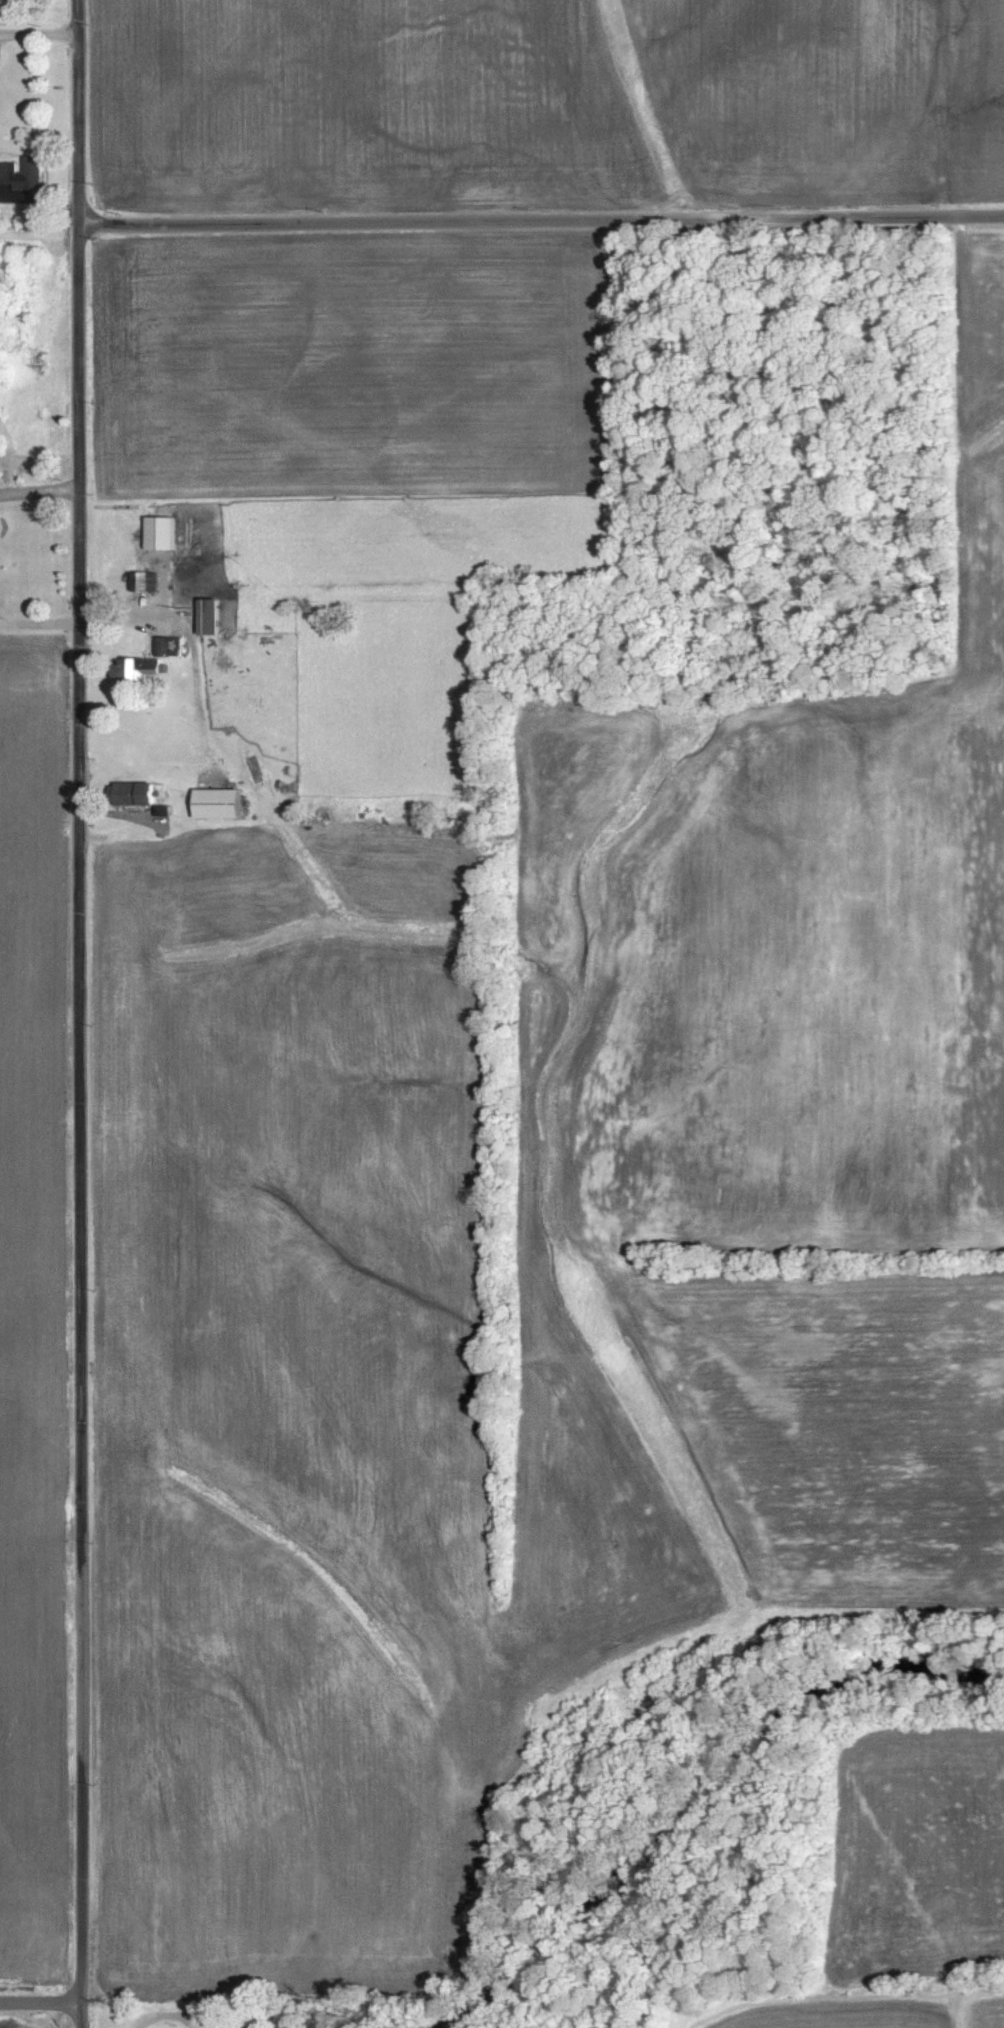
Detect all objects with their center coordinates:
building: (21, 172)
road: (540, 218)
building: (158, 531)
building: (141, 580)
building: (205, 615)
building: (140, 666)
building: (214, 802)
road: (79, 1013)
crop: (33, 1325)
road: (41, 2001)
crop: (34, 2019)

